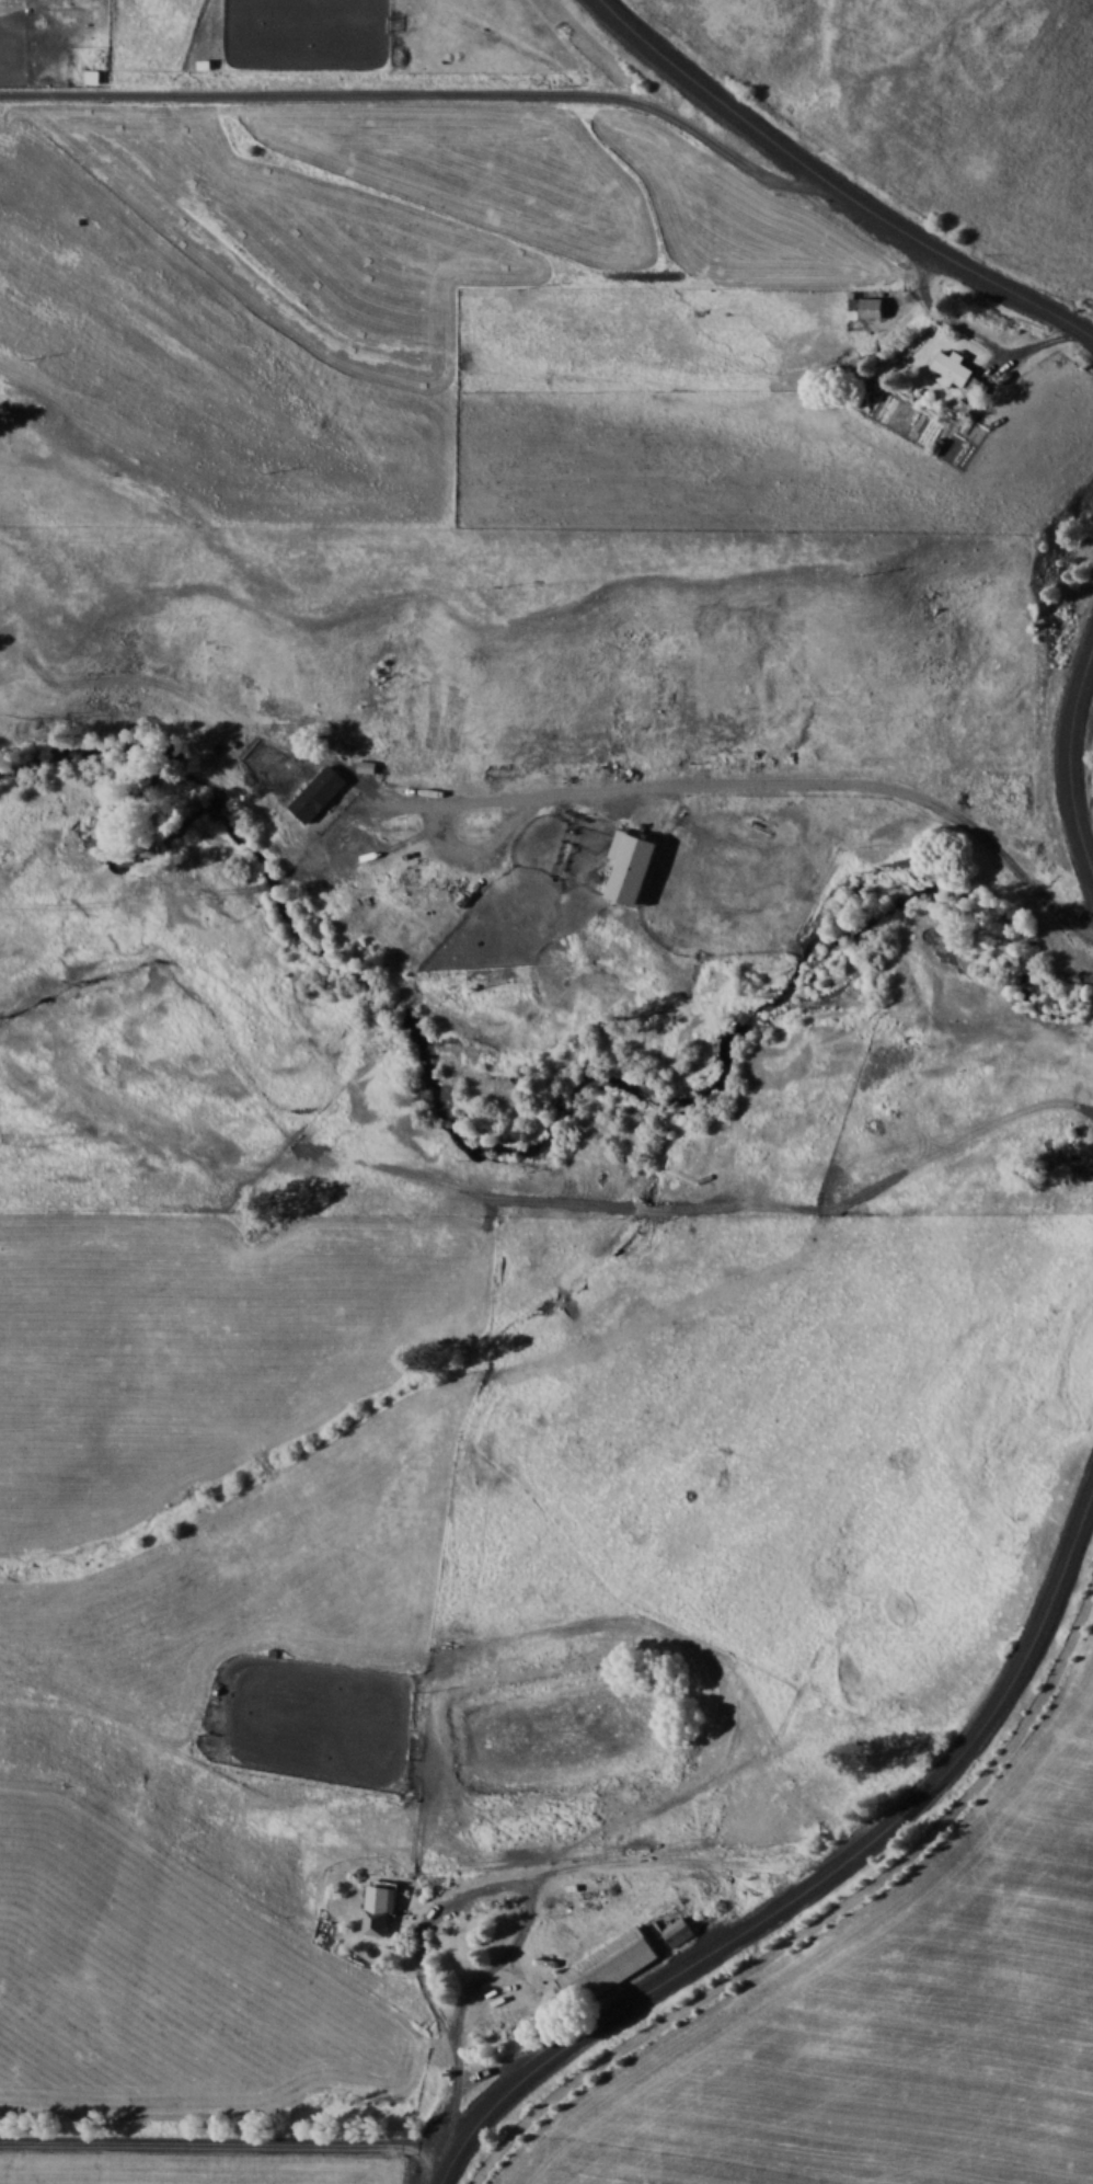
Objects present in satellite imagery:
road: (422, 92)
road: (837, 183)
building: (873, 307)
road: (979, 333)
building: (953, 368)
building: (978, 390)
building: (966, 409)
road: (1069, 756)
road: (758, 780)
building: (356, 845)
building: (415, 895)
road: (817, 1880)
road: (495, 1884)
building: (379, 1908)
building: (620, 1958)
road: (219, 2141)

